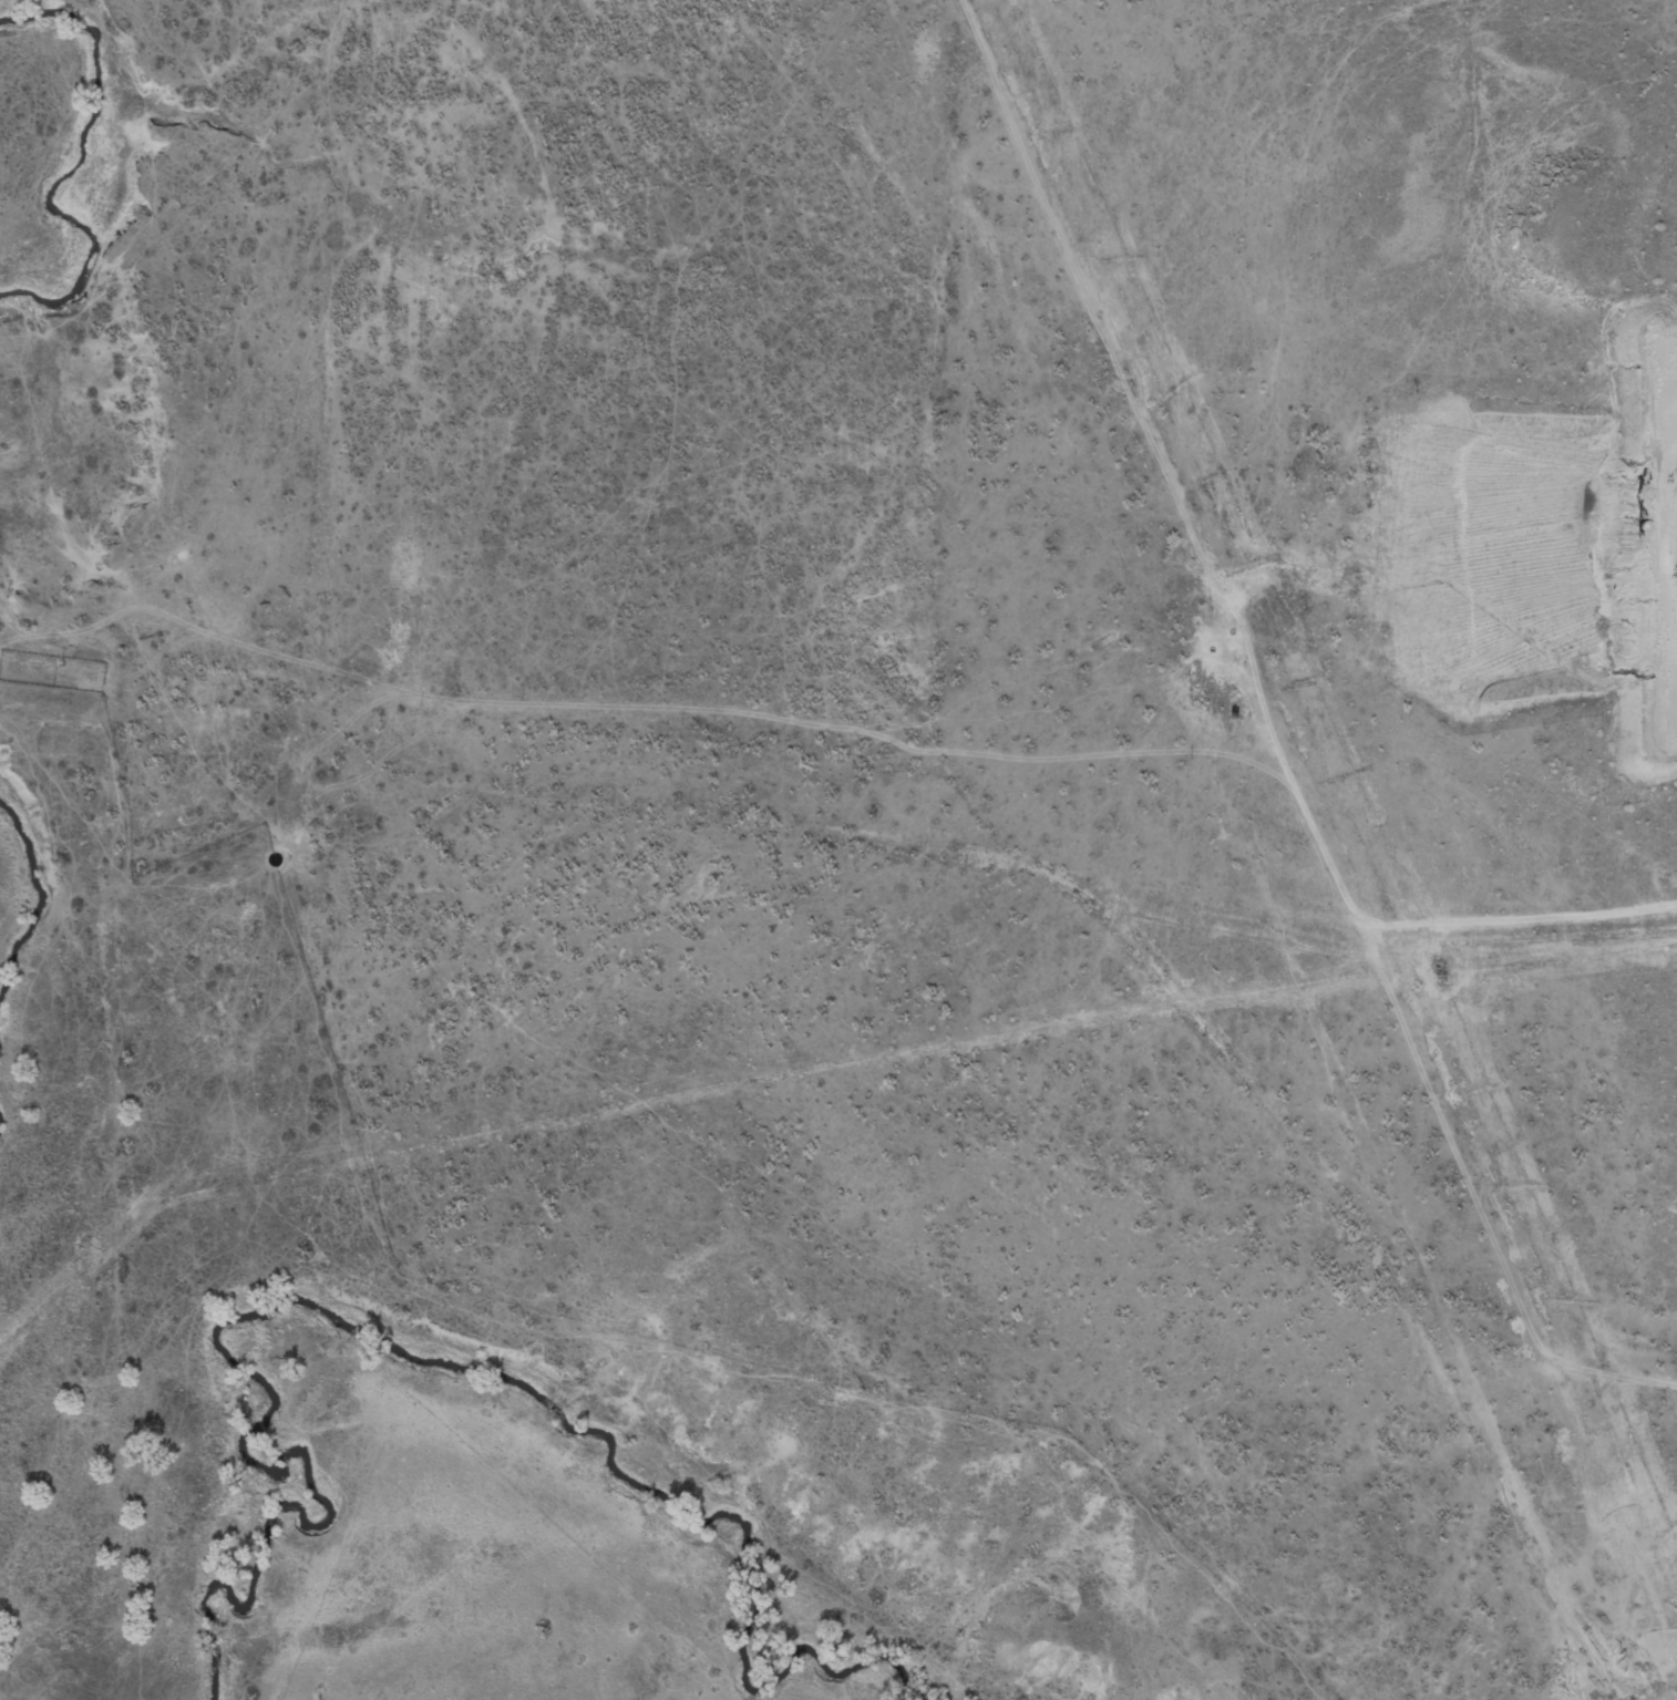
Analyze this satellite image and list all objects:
road: (534, 812)
road: (1369, 942)

